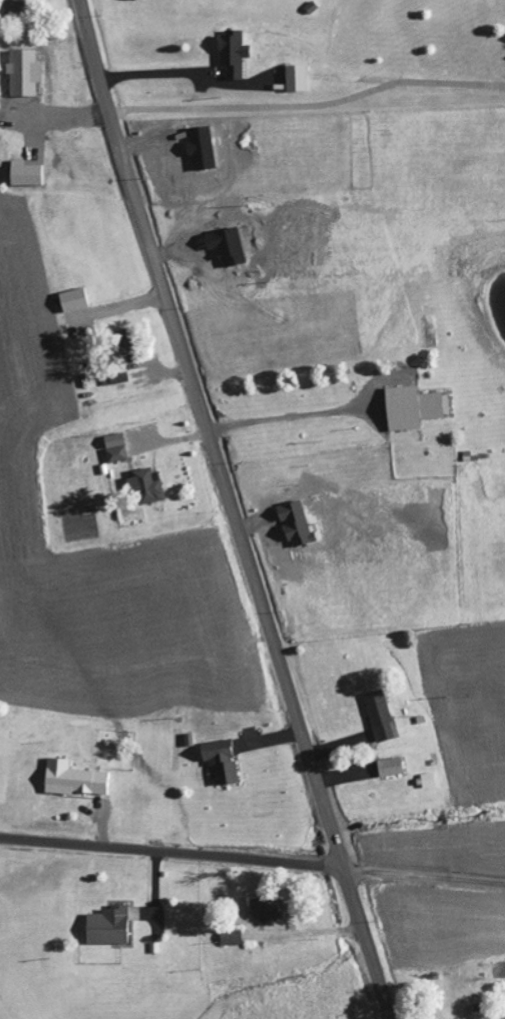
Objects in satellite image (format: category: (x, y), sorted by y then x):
building: (16, 9)
building: (235, 55)
building: (25, 73)
building: (298, 79)
building: (28, 176)
building: (76, 301)
building: (124, 348)
building: (416, 409)
road: (289, 418)
building: (118, 449)
building: (148, 487)
road: (232, 510)
building: (383, 716)
building: (225, 765)
building: (393, 767)
building: (76, 779)
building: (431, 780)
road: (172, 854)
road: (424, 876)
building: (268, 909)
building: (111, 926)
building: (234, 938)

